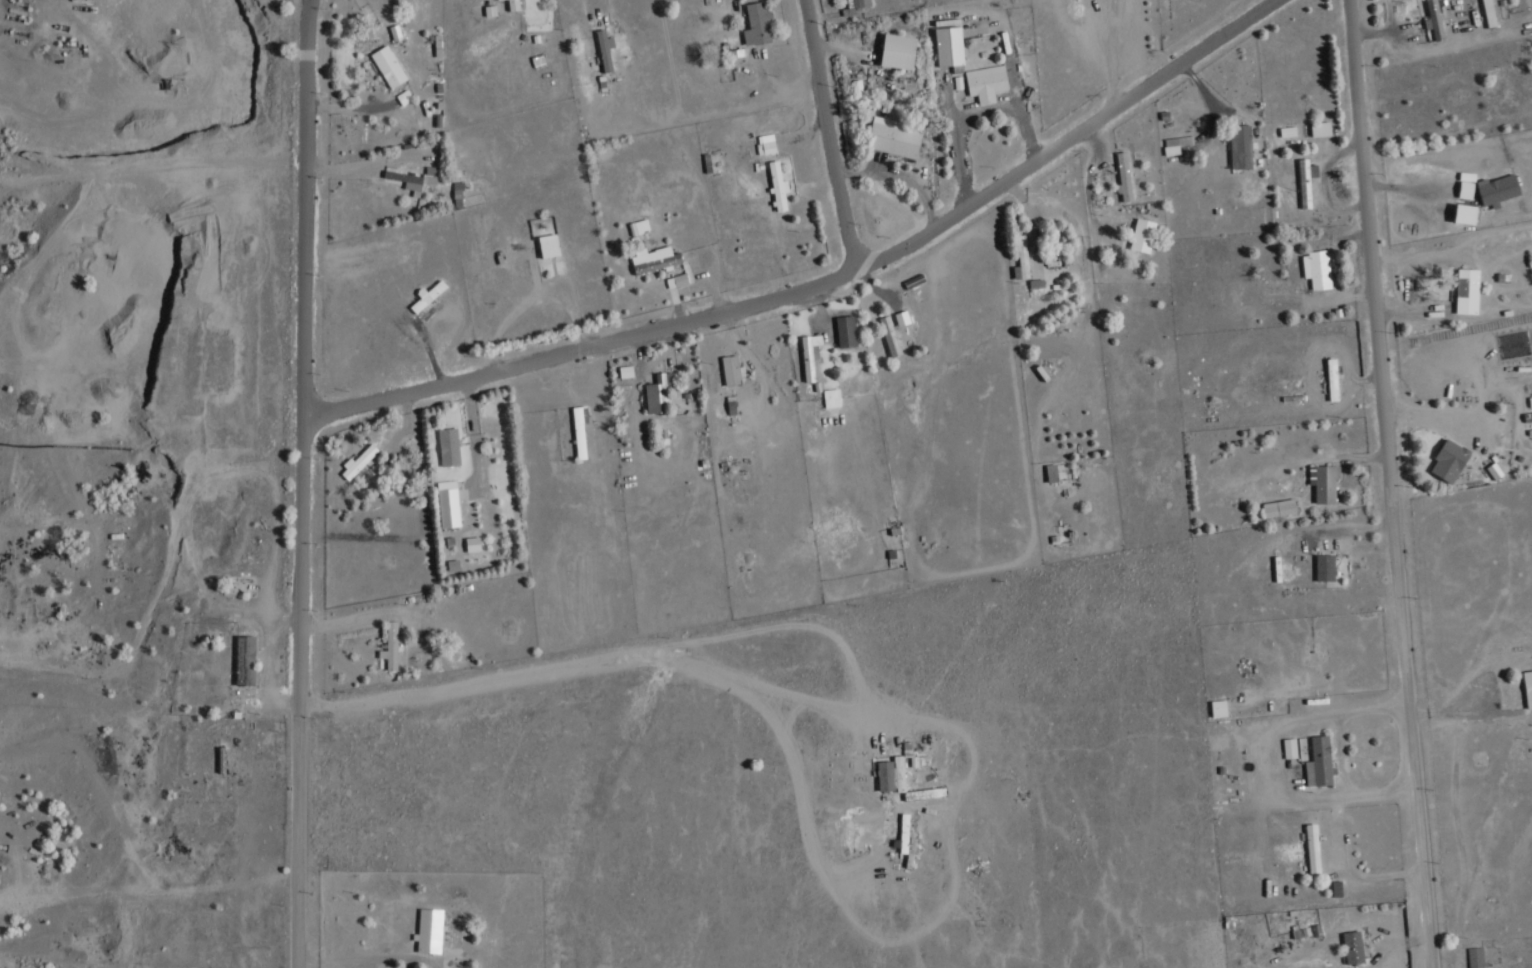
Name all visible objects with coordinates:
building: (514, 5)
road: (608, 6)
building: (854, 6)
building: (490, 10)
building: (1489, 13)
building: (1435, 20)
building: (757, 24)
building: (1429, 28)
building: (949, 42)
building: (605, 50)
road: (1114, 50)
building: (898, 51)
building: (388, 66)
building: (986, 82)
building: (857, 87)
building: (404, 96)
road: (979, 109)
building: (1321, 128)
building: (1288, 131)
road: (1430, 134)
road: (830, 135)
building: (892, 137)
building: (766, 144)
building: (1175, 144)
building: (1241, 146)
road: (149, 166)
road: (903, 173)
building: (1124, 176)
building: (417, 178)
building: (1306, 181)
building: (778, 186)
road: (1422, 187)
building: (1466, 189)
building: (1498, 190)
building: (1466, 214)
building: (639, 226)
building: (1143, 235)
building: (548, 245)
building: (1022, 258)
building: (654, 259)
building: (1318, 268)
building: (677, 281)
road: (821, 283)
building: (1467, 291)
building: (428, 296)
building: (846, 331)
building: (810, 355)
building: (731, 370)
building: (626, 371)
building: (1332, 379)
building: (659, 394)
building: (832, 398)
building: (1530, 401)
building: (580, 429)
building: (449, 447)
building: (359, 461)
building: (1449, 461)
building: (1052, 473)
building: (1324, 482)
road: (302, 483)
road: (1394, 483)
building: (448, 504)
building: (1279, 507)
building: (473, 544)
building: (1325, 567)
building: (390, 647)
building: (245, 660)
building: (1528, 687)
building: (1219, 708)
road: (1373, 709)
building: (1290, 747)
building: (1319, 762)
building: (891, 774)
building: (903, 832)
building: (1313, 848)
building: (429, 930)
building: (1353, 947)
road: (362, 957)

